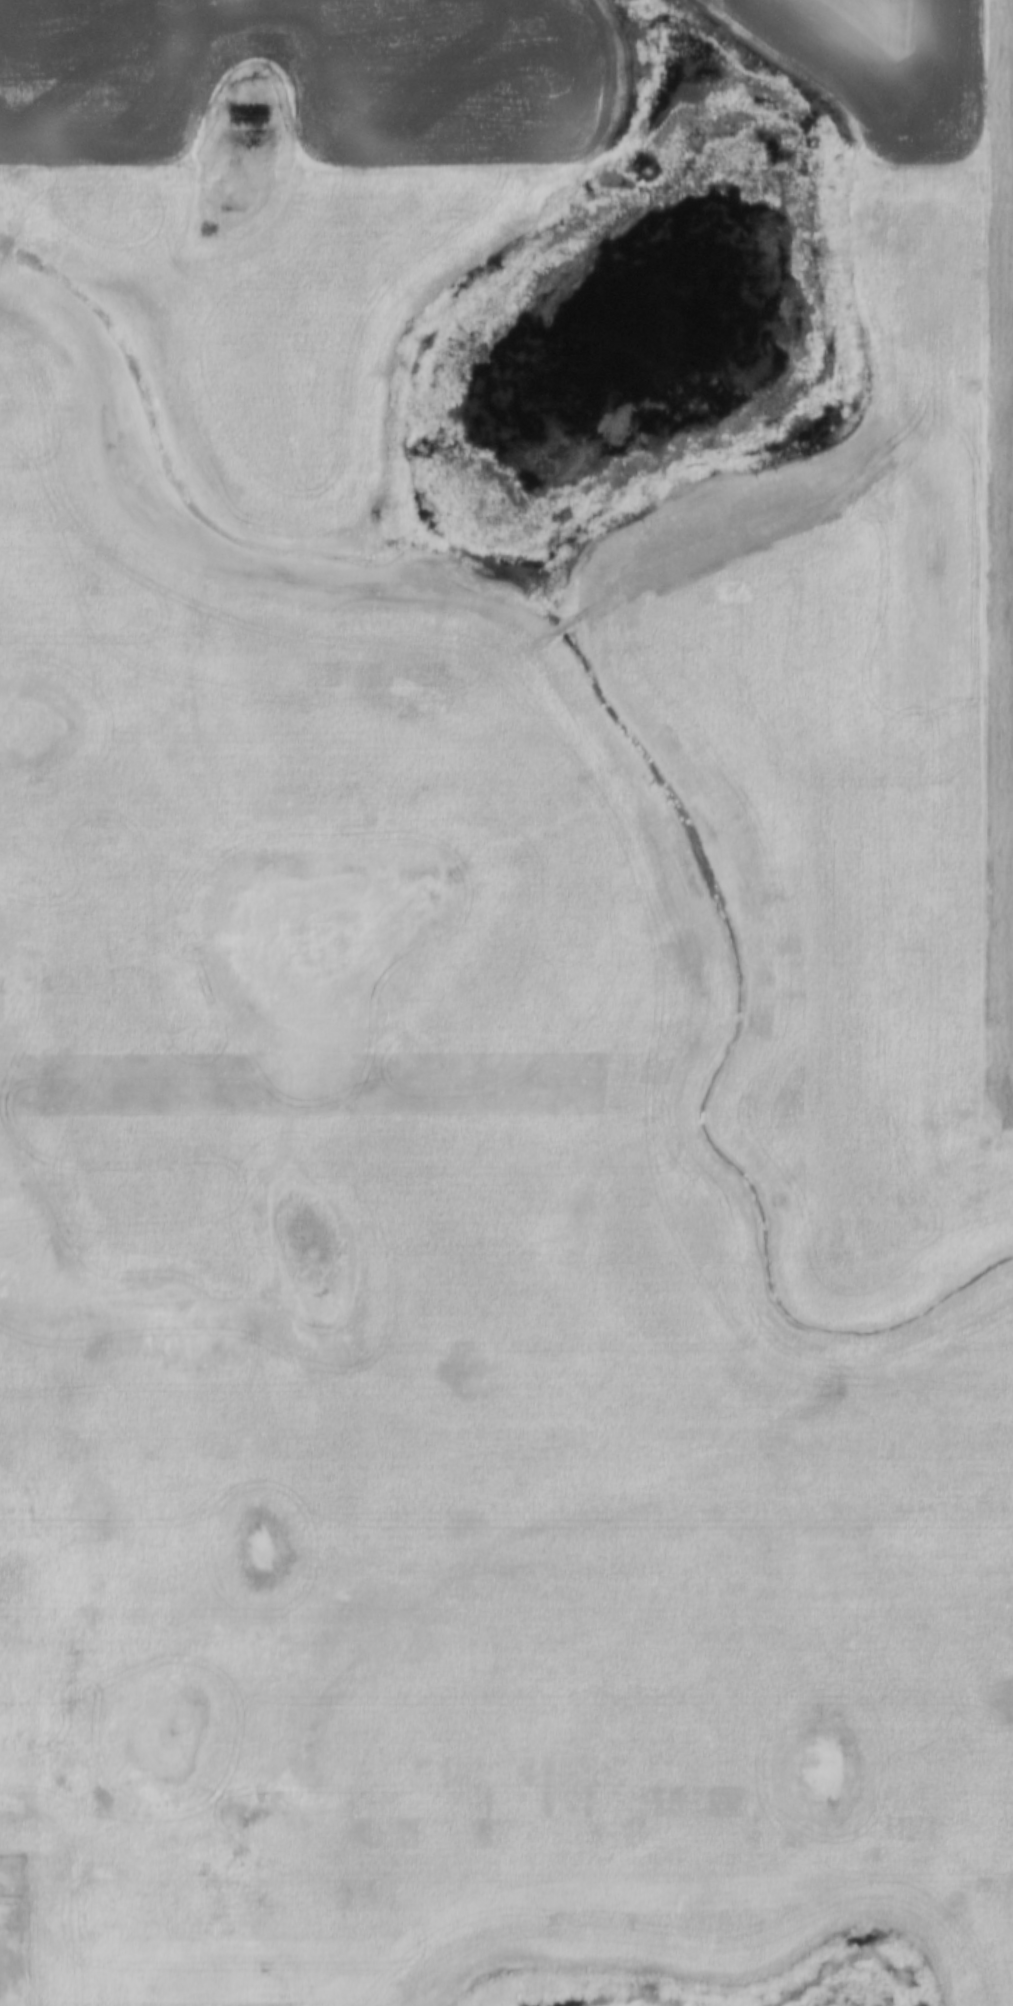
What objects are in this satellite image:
building: (7, 1978)

